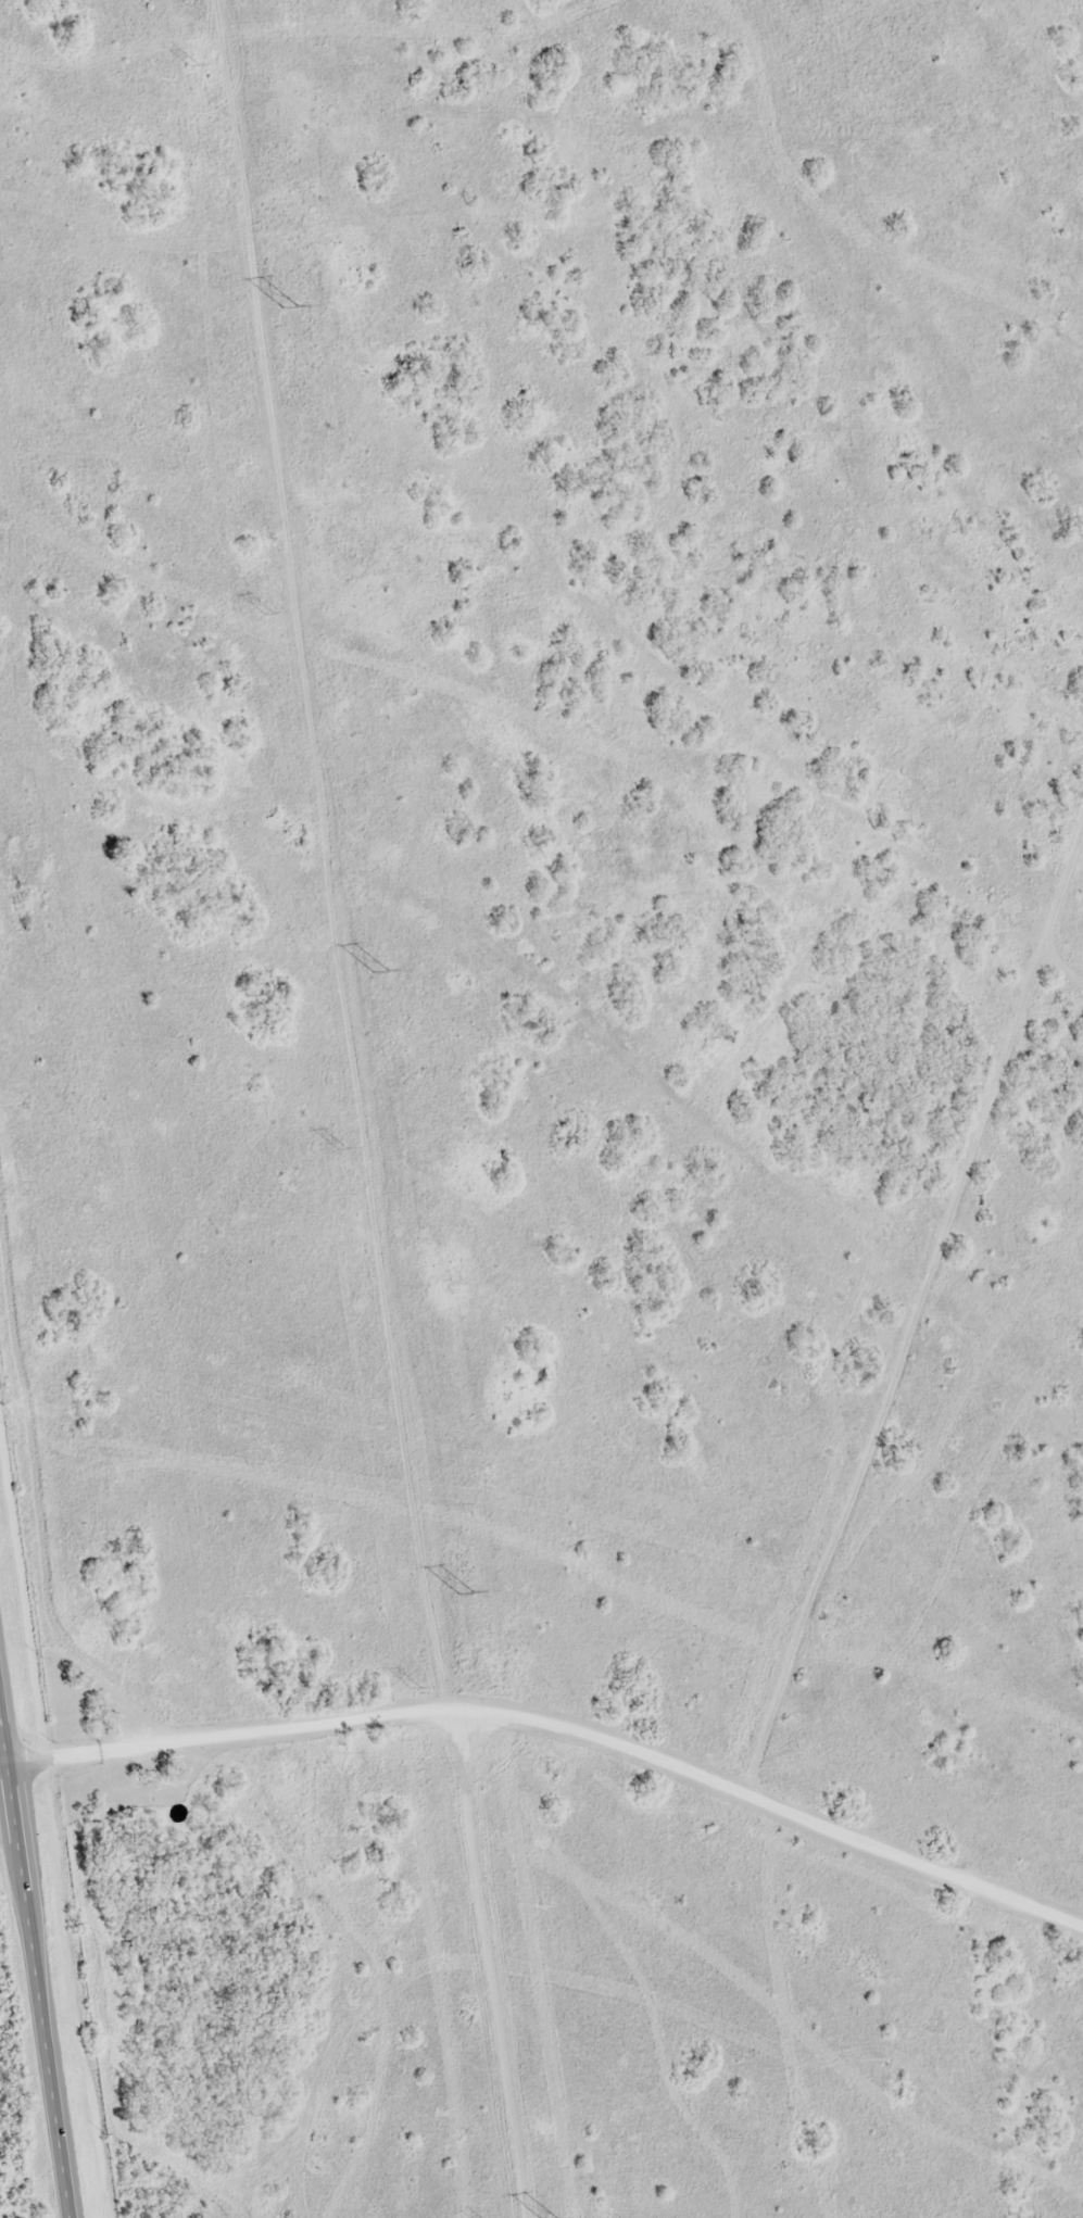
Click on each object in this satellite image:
power tower: (192, 64)
power tower: (288, 306)
power tower: (266, 614)
power tower: (378, 972)
power tower: (340, 1148)
power tower: (463, 1595)
power tower: (414, 1688)
road: (556, 1729)
road: (37, 1954)
road: (1079, 2207)

